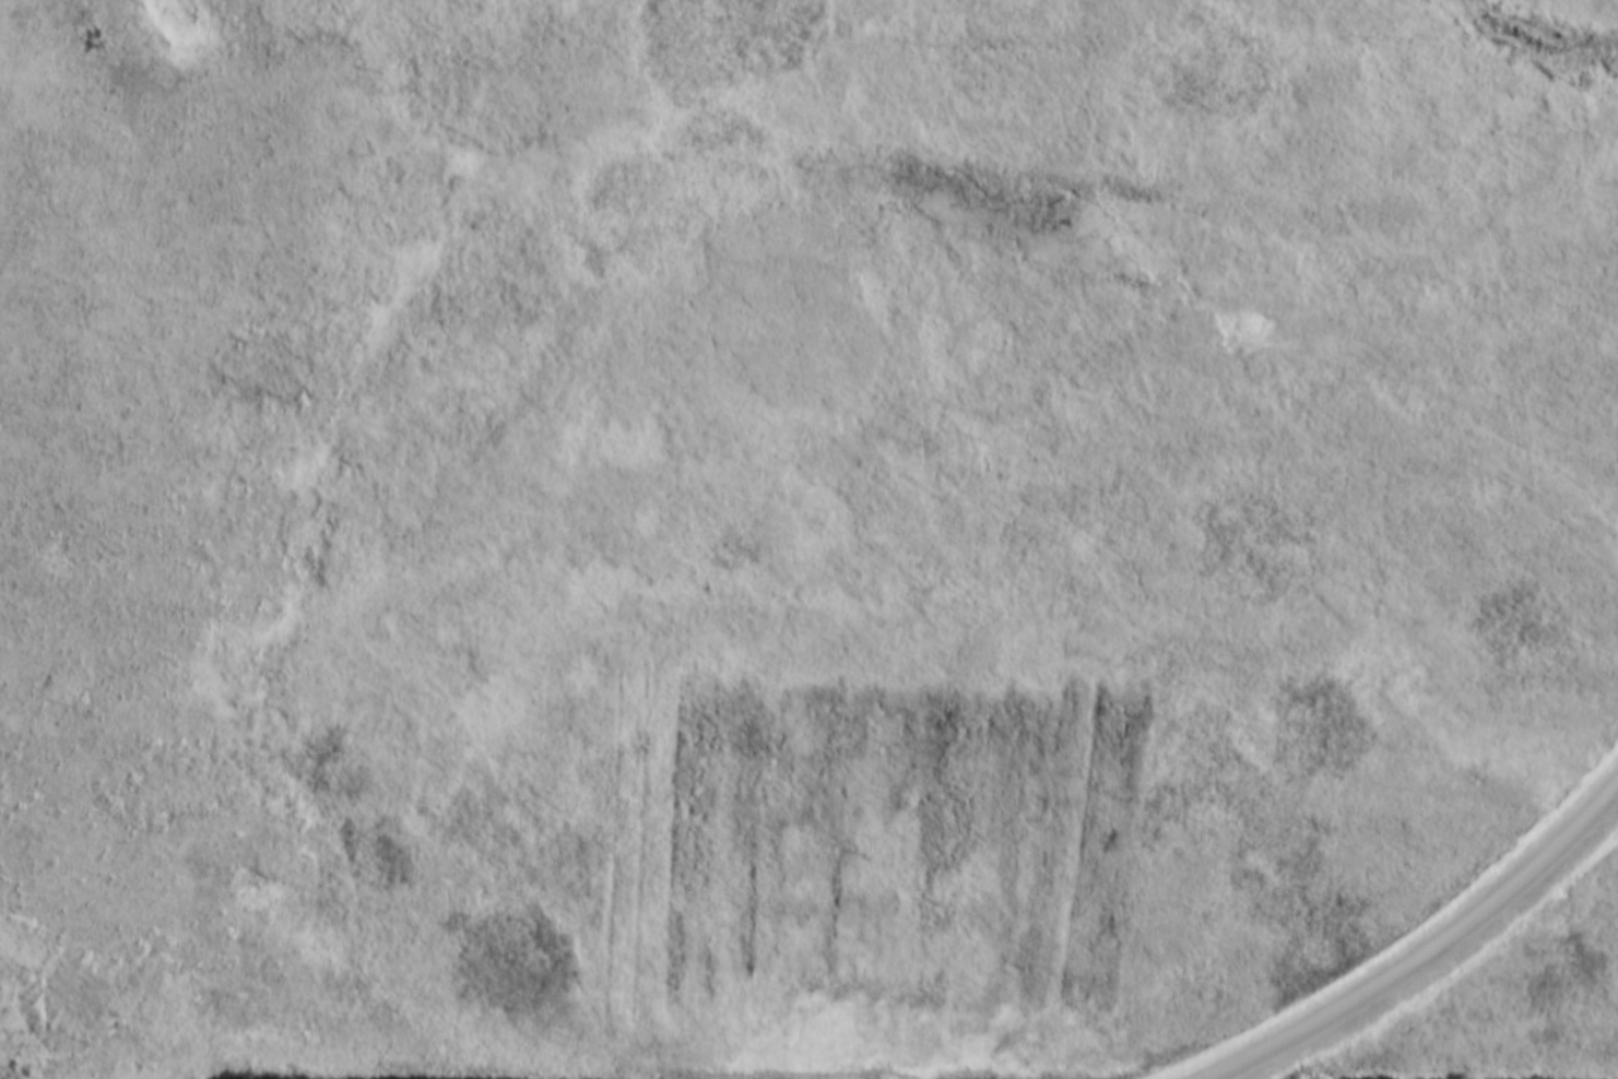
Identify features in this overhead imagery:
road: (1424, 952)

